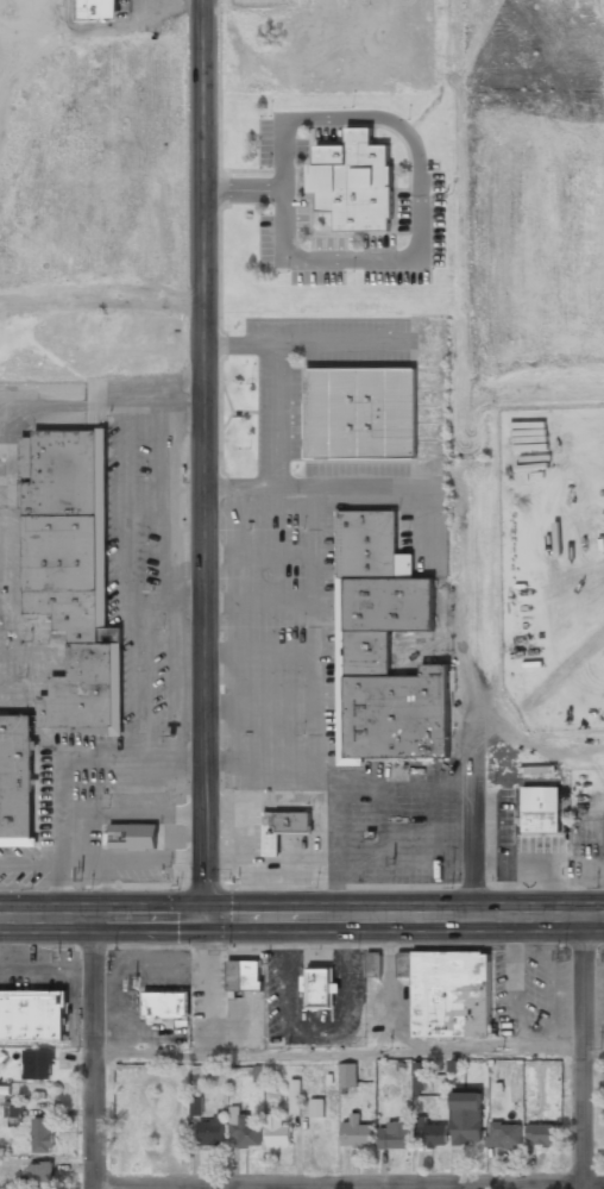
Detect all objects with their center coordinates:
building: (96, 10)
building: (354, 183)
building: (360, 413)
road: (200, 458)
building: (62, 608)
building: (383, 649)
building: (540, 811)
road: (477, 820)
building: (282, 830)
building: (131, 838)
traffic signals: (200, 916)
road: (302, 916)
building: (372, 964)
building: (244, 975)
building: (319, 988)
building: (448, 993)
building: (166, 1003)
building: (32, 1015)
road: (347, 1051)
road: (92, 1052)
road: (583, 1052)
building: (37, 1064)
building: (347, 1075)
building: (417, 1076)
building: (294, 1096)
building: (316, 1107)
building: (13, 1109)
building: (466, 1118)
building: (244, 1128)
building: (210, 1131)
building: (277, 1131)
building: (356, 1132)
building: (432, 1132)
building: (541, 1133)
building: (42, 1134)
building: (394, 1135)
building: (503, 1135)
building: (39, 1175)
road: (348, 1184)

